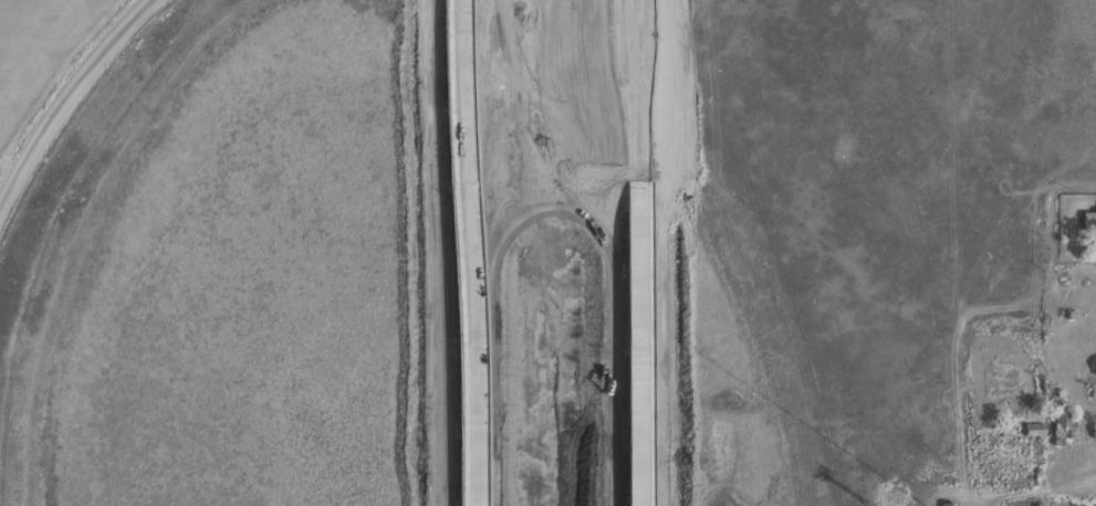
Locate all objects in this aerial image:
road: (65, 97)
road: (638, 252)
road: (461, 253)
building: (1095, 376)

